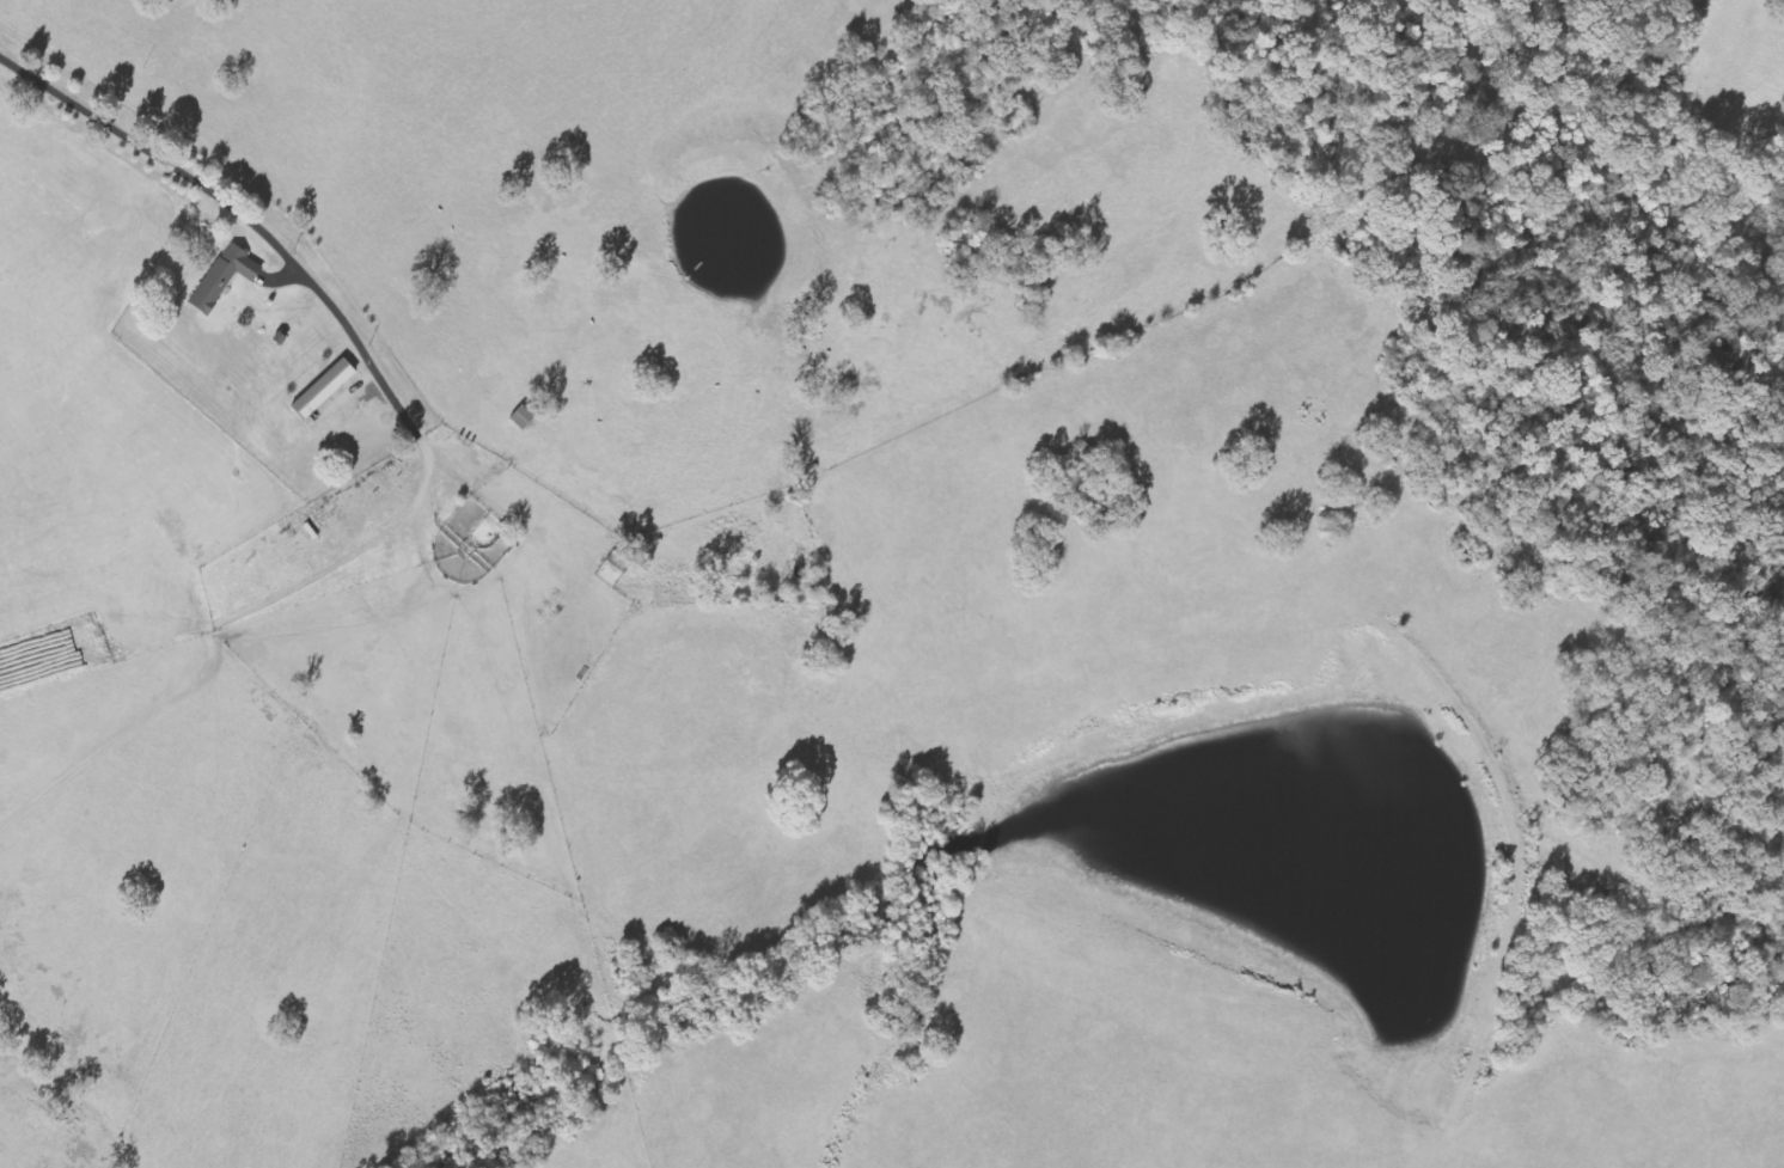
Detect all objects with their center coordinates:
road: (258, 233)
building: (228, 277)
building: (328, 390)

